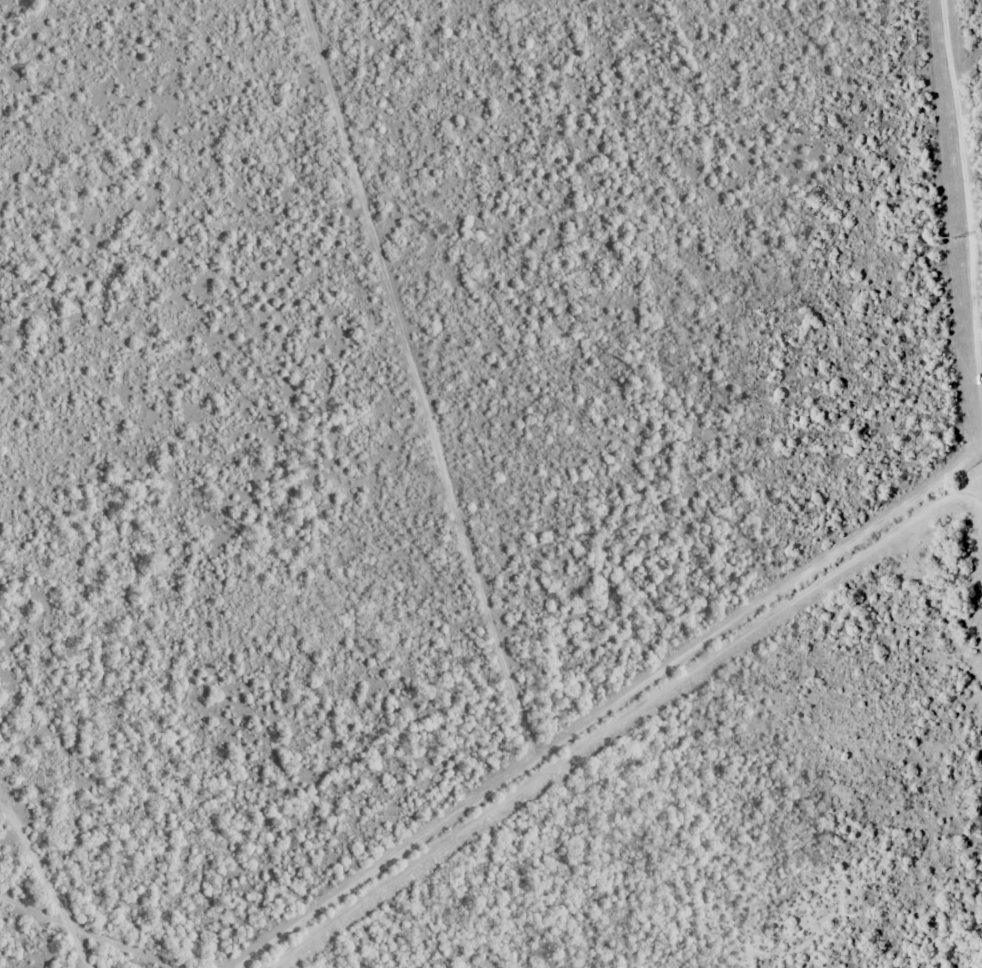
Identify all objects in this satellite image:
power tower: (958, 237)
road: (931, 257)
road: (479, 527)
road: (780, 668)
road: (38, 913)
road: (122, 916)

